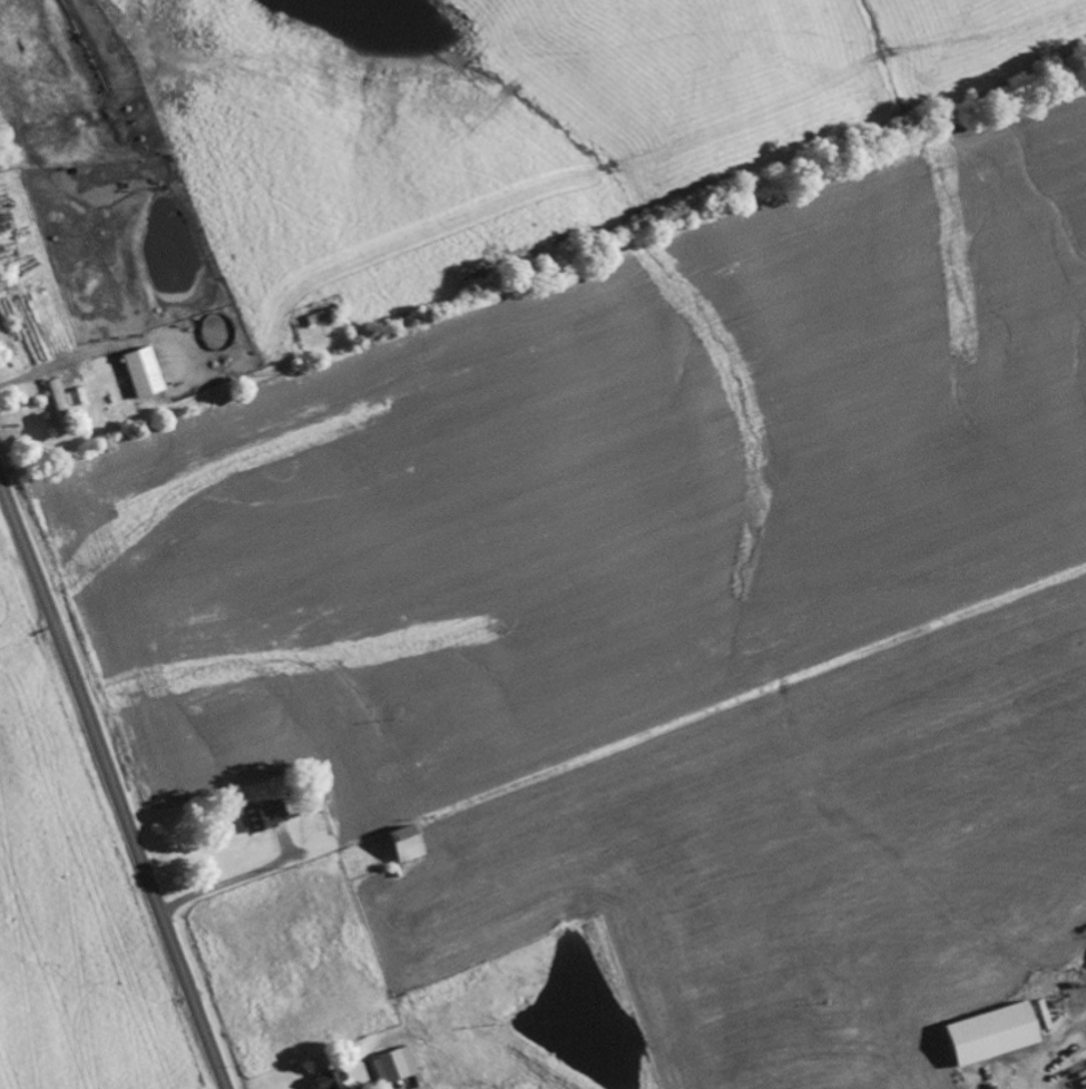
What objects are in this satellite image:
building: (3, 224)
building: (1, 253)
road: (542, 275)
building: (319, 320)
building: (135, 374)
building: (51, 399)
road: (112, 786)
building: (258, 815)
building: (395, 845)
building: (990, 1029)
building: (387, 1065)
building: (341, 1078)

